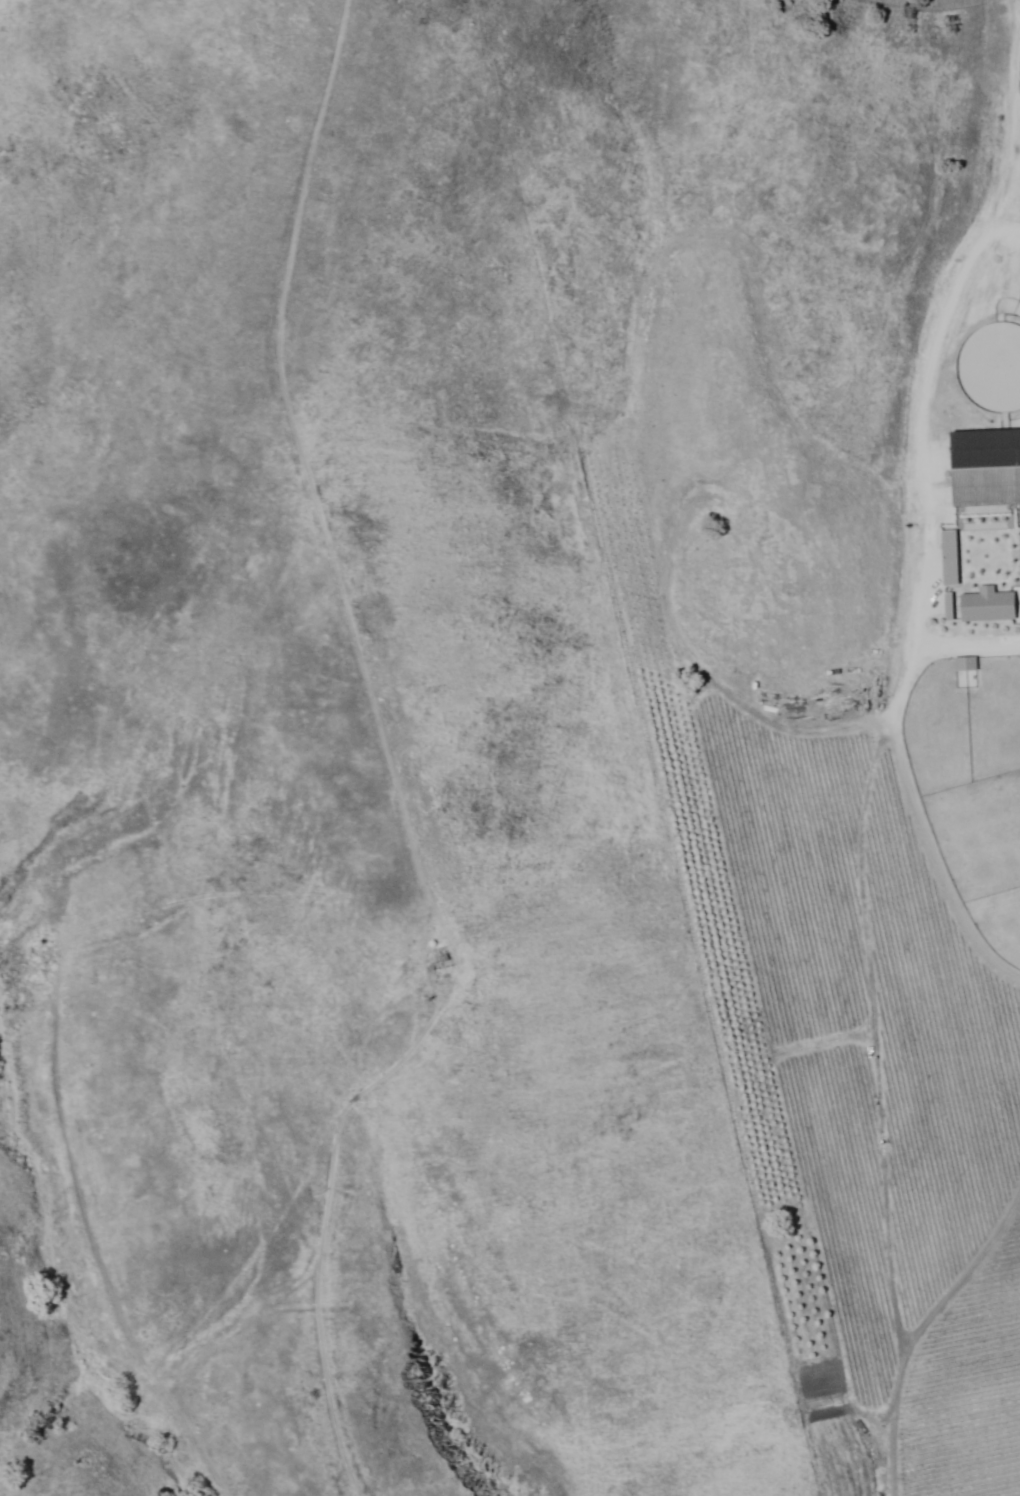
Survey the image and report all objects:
building: (985, 466)
building: (948, 557)
building: (986, 604)
building: (964, 663)

